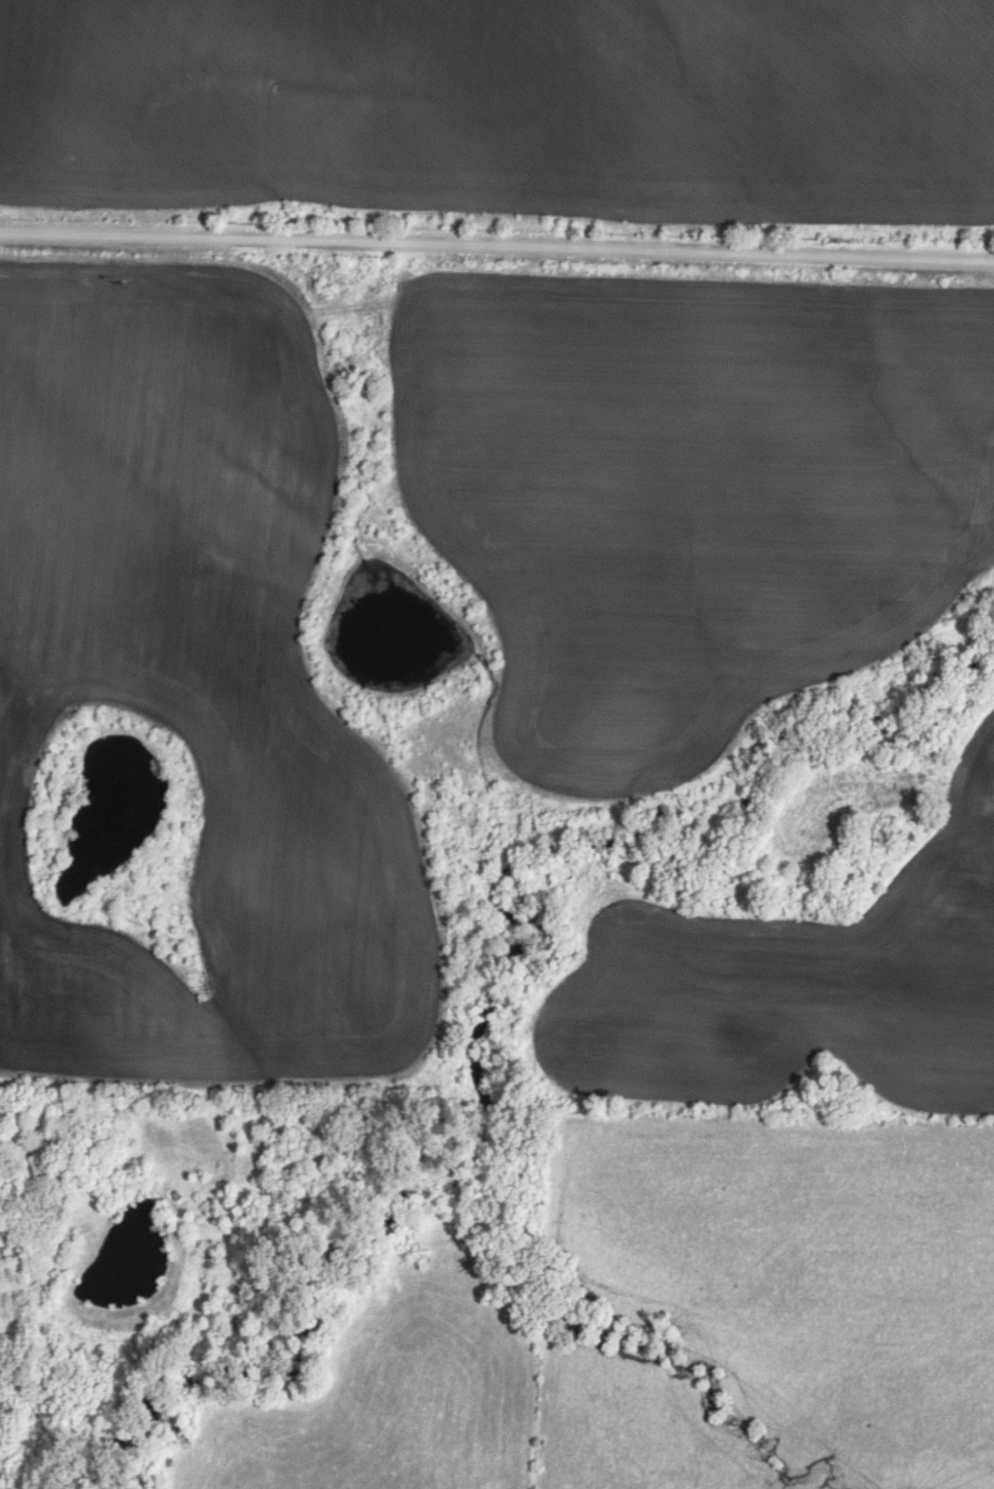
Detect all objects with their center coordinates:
road: (496, 247)

